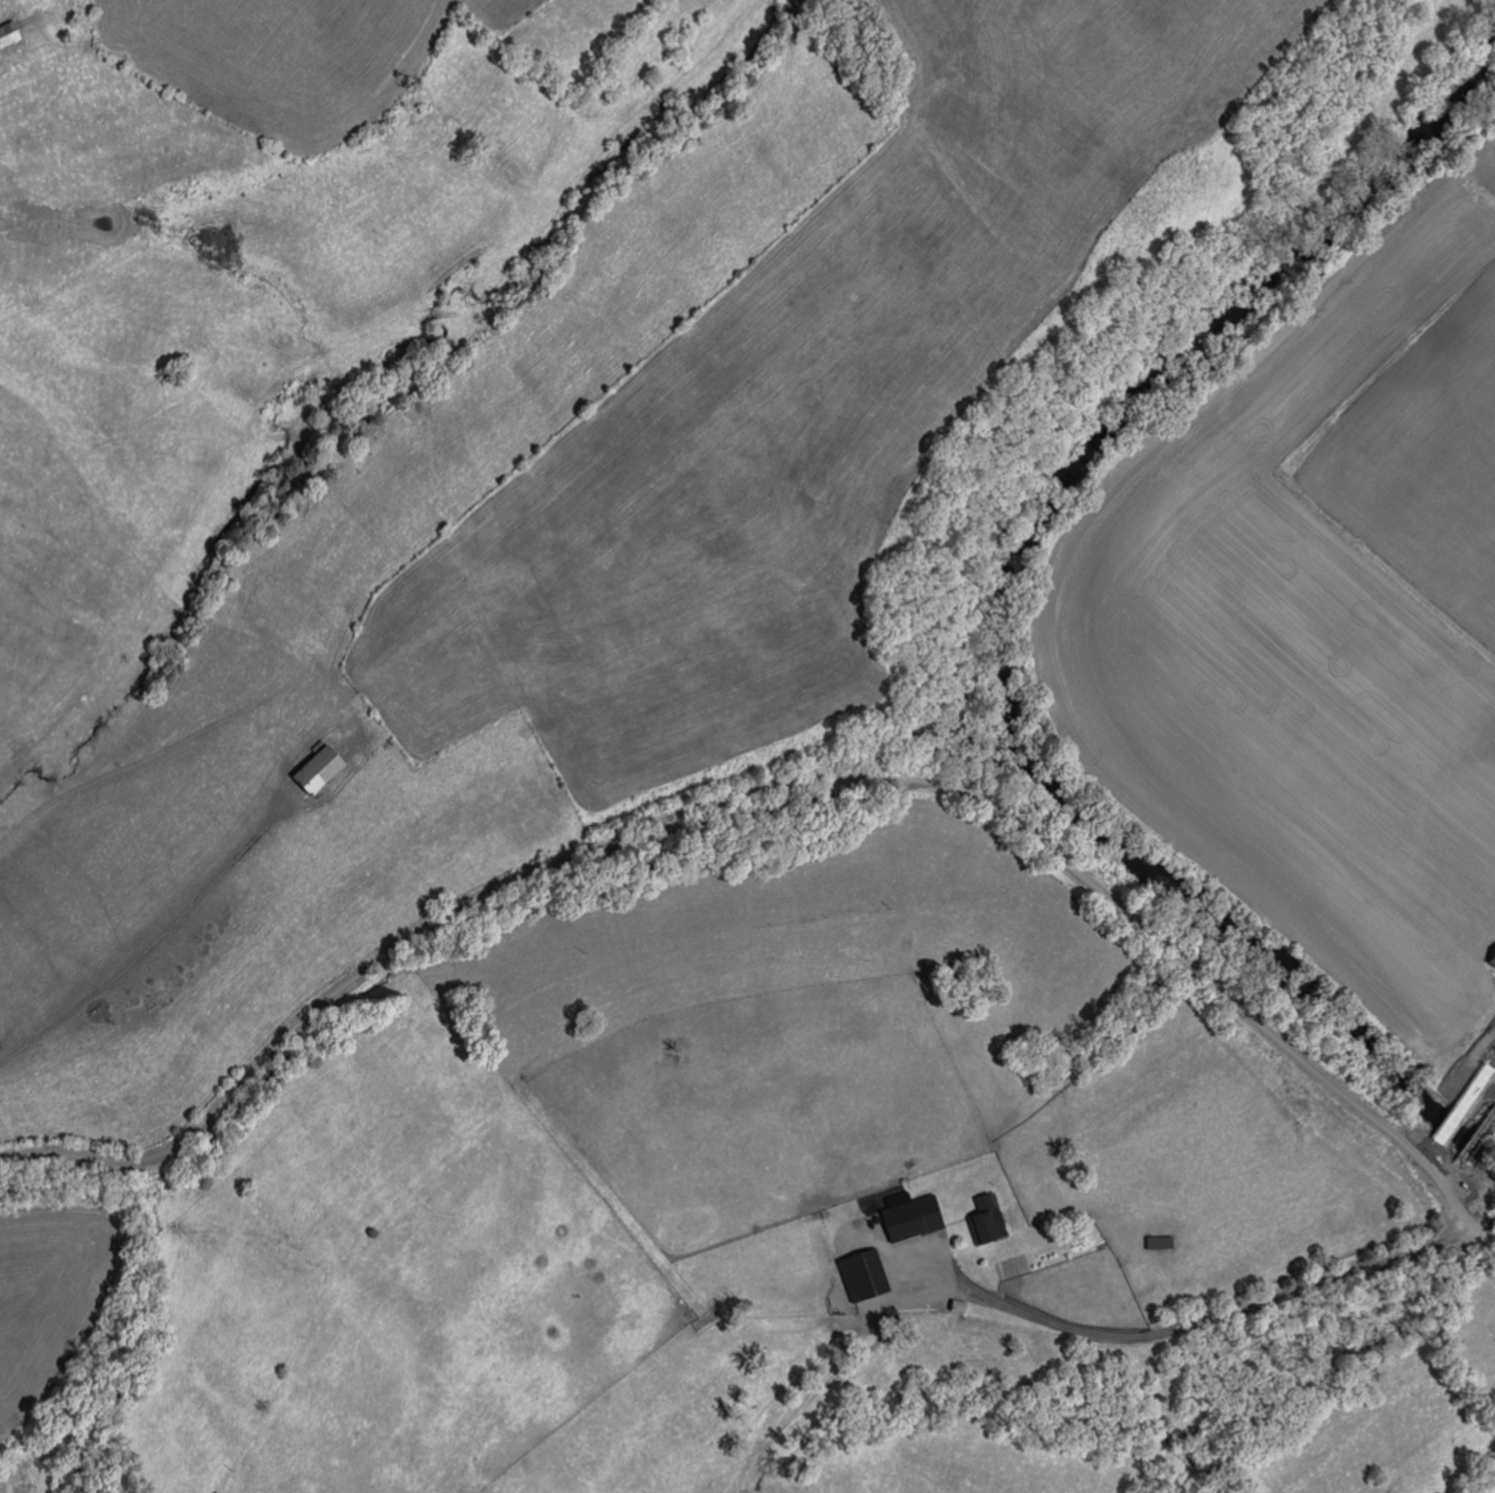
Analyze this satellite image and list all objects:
building: (14, 36)
river: (997, 594)
building: (315, 772)
road: (735, 792)
building: (1491, 958)
road: (1478, 1131)
road: (1450, 1170)
road: (1461, 1217)
building: (908, 1220)
building: (983, 1222)
building: (860, 1276)
building: (956, 1308)

